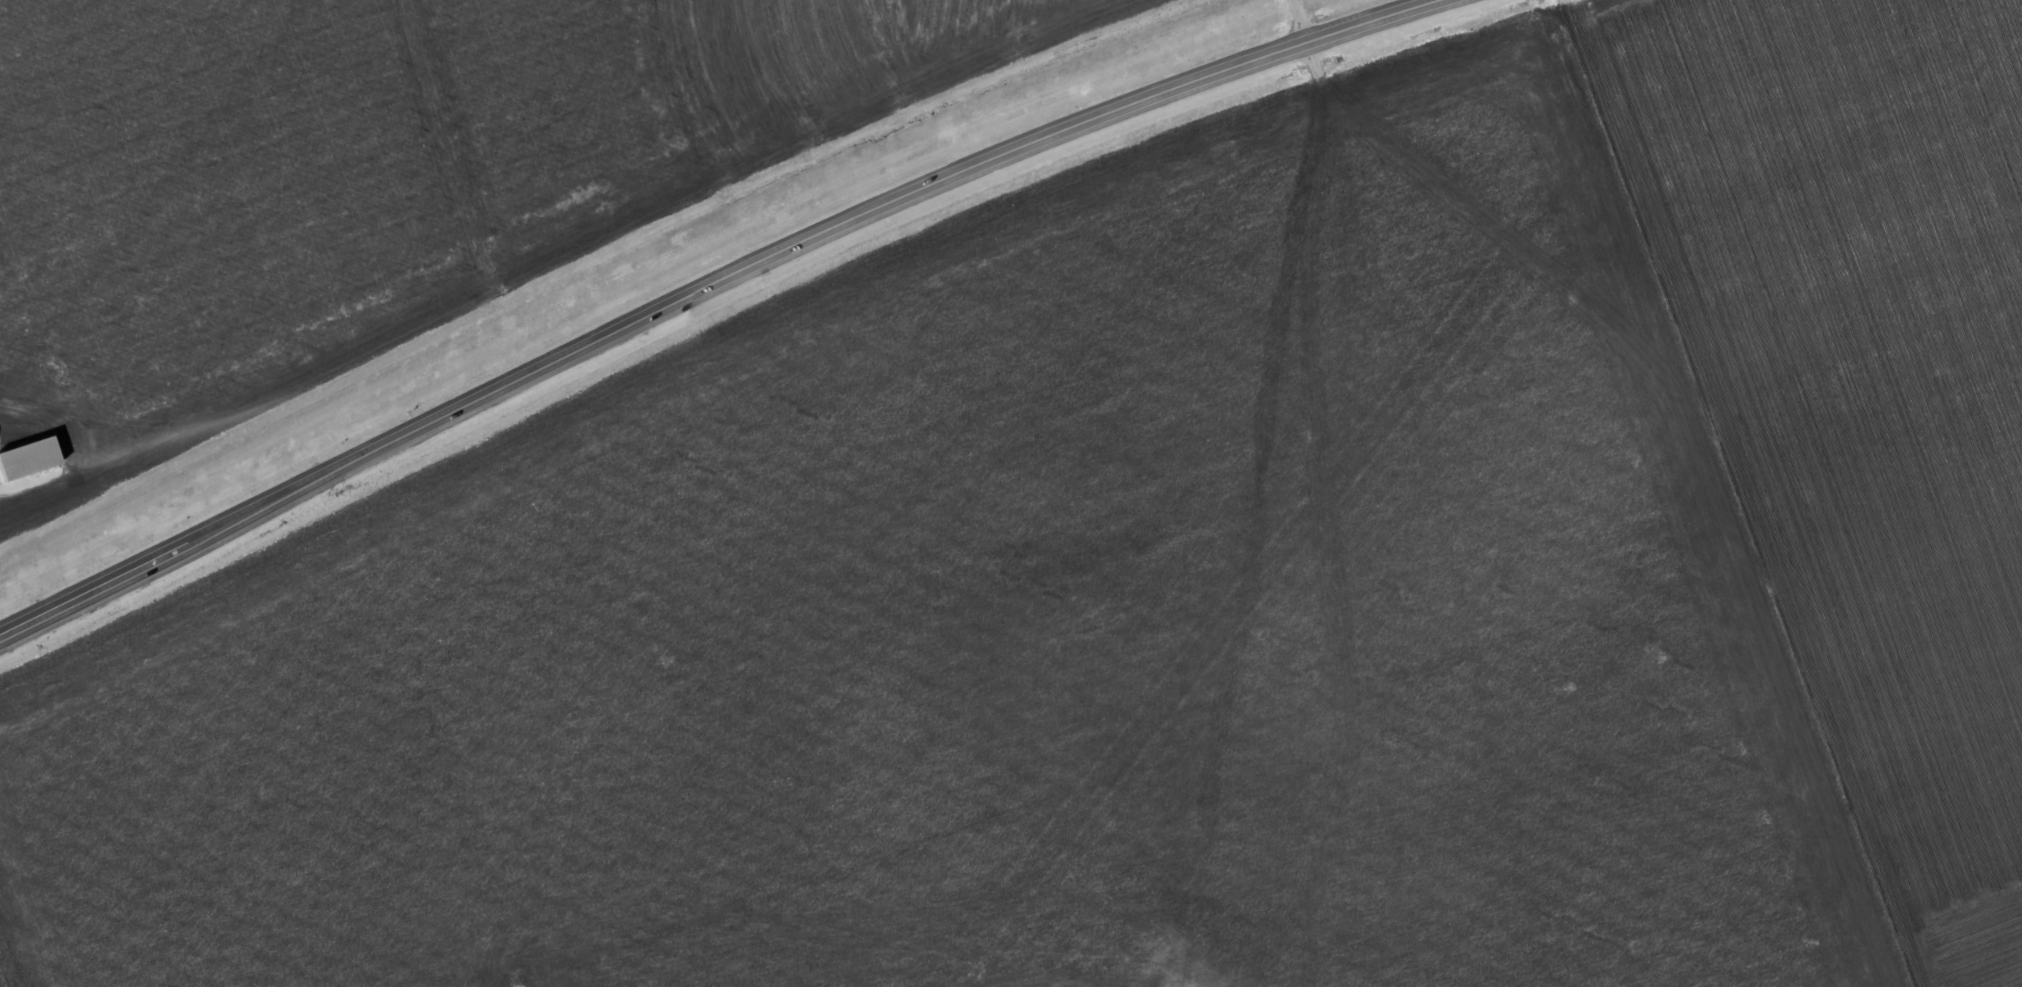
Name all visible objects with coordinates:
road: (1296, 20)
road: (698, 287)

